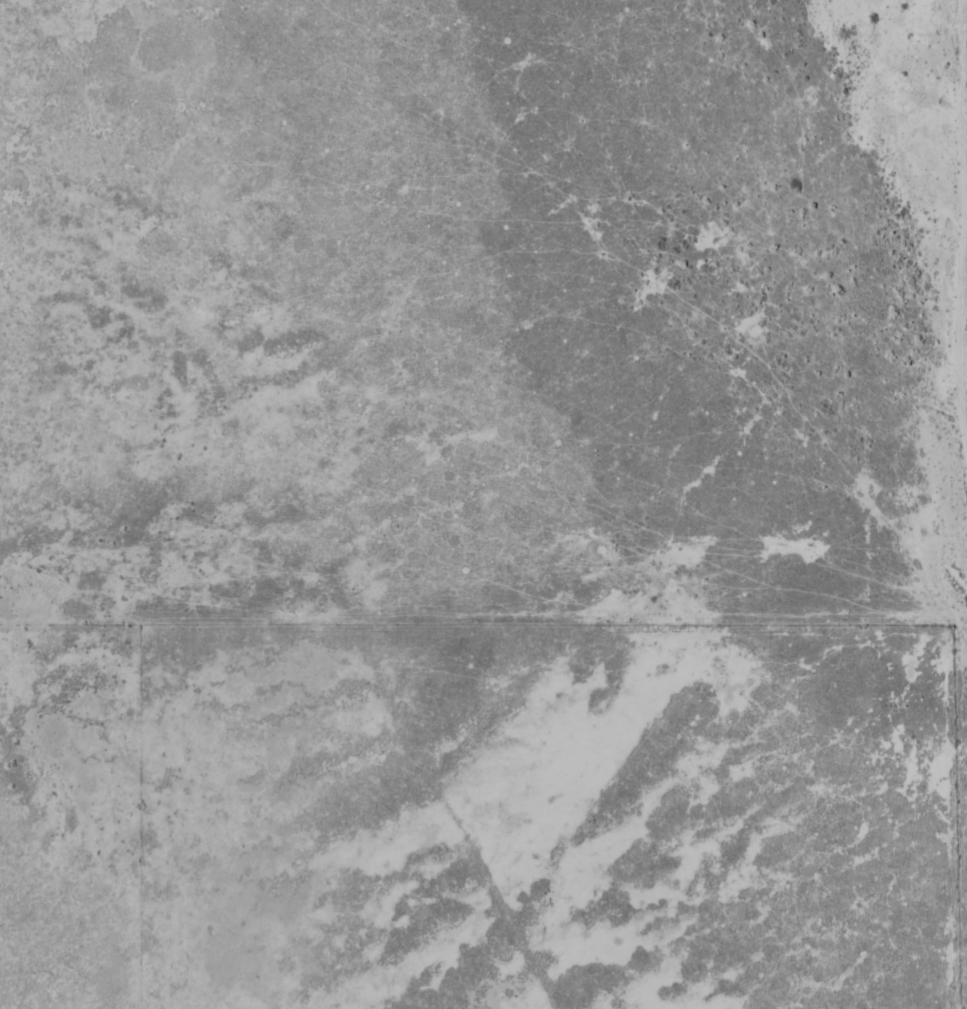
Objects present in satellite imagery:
road: (887, 117)

